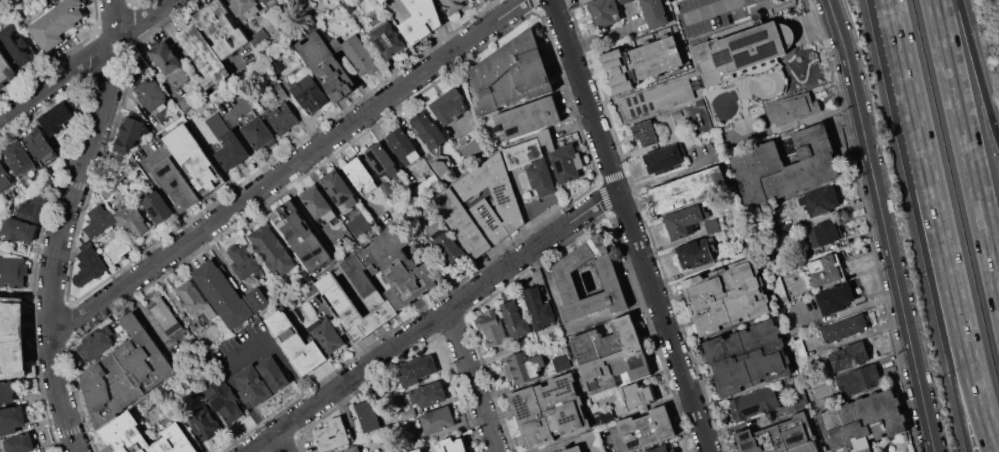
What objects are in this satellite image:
building: (582, 0)
building: (266, 1)
building: (383, 1)
building: (453, 5)
building: (246, 8)
road: (713, 10)
building: (604, 12)
building: (655, 13)
parking lot: (708, 14)
building: (421, 20)
building: (57, 23)
building: (221, 29)
road: (611, 36)
building: (388, 39)
road: (216, 46)
building: (17, 47)
building: (745, 52)
building: (356, 53)
building: (203, 56)
road: (83, 59)
building: (639, 62)
building: (169, 63)
building: (327, 66)
road: (974, 69)
building: (6, 72)
building: (511, 74)
building: (785, 76)
road: (910, 90)
building: (308, 92)
building: (151, 93)
building: (657, 98)
building: (449, 105)
building: (791, 109)
building: (283, 117)
building: (54, 119)
building: (527, 119)
building: (131, 130)
building: (429, 131)
building: (644, 132)
building: (258, 133)
road: (240, 134)
road: (968, 137)
building: (226, 142)
building: (404, 145)
building: (39, 146)
building: (468, 147)
building: (524, 152)
building: (192, 158)
building: (563, 158)
building: (383, 159)
building: (665, 159)
building: (19, 160)
building: (441, 164)
building: (783, 167)
road: (288, 168)
road: (671, 173)
building: (361, 175)
building: (5, 176)
building: (541, 177)
building: (426, 184)
building: (175, 185)
road: (351, 185)
road: (158, 187)
building: (338, 189)
building: (688, 189)
building: (492, 198)
building: (822, 202)
building: (317, 203)
building: (36, 205)
building: (155, 206)
road: (309, 217)
building: (133, 219)
building: (685, 220)
building: (98, 222)
road: (62, 223)
building: (462, 223)
road: (633, 225)
road: (886, 225)
building: (362, 226)
building: (18, 229)
building: (825, 232)
building: (300, 236)
building: (117, 248)
building: (449, 249)
building: (271, 250)
building: (696, 254)
building: (243, 261)
building: (89, 266)
building: (398, 267)
building: (827, 269)
building: (12, 272)
building: (566, 281)
road: (25, 291)
building: (223, 295)
building: (727, 296)
building: (337, 297)
building: (257, 298)
building: (834, 298)
building: (194, 303)
building: (538, 308)
road: (557, 308)
road: (851, 308)
building: (165, 316)
road: (950, 316)
road: (962, 316)
road: (434, 319)
building: (514, 320)
building: (844, 327)
building: (491, 330)
building: (327, 336)
building: (12, 340)
building: (103, 340)
building: (297, 343)
building: (797, 348)
road: (276, 349)
building: (613, 356)
building: (845, 356)
building: (749, 357)
building: (560, 362)
building: (523, 367)
building: (415, 371)
building: (127, 372)
building: (273, 373)
building: (857, 379)
road: (474, 380)
building: (252, 386)
building: (6, 392)
building: (429, 394)
building: (637, 395)
building: (224, 400)
building: (754, 404)
building: (550, 411)
building: (368, 416)
building: (12, 418)
building: (437, 420)
building: (205, 423)
building: (860, 423)
building: (645, 428)
building: (122, 434)
building: (332, 435)
building: (781, 436)
road: (283, 441)
building: (19, 443)
building: (444, 446)
building: (663, 448)
building: (351, 449)
building: (574, 449)

